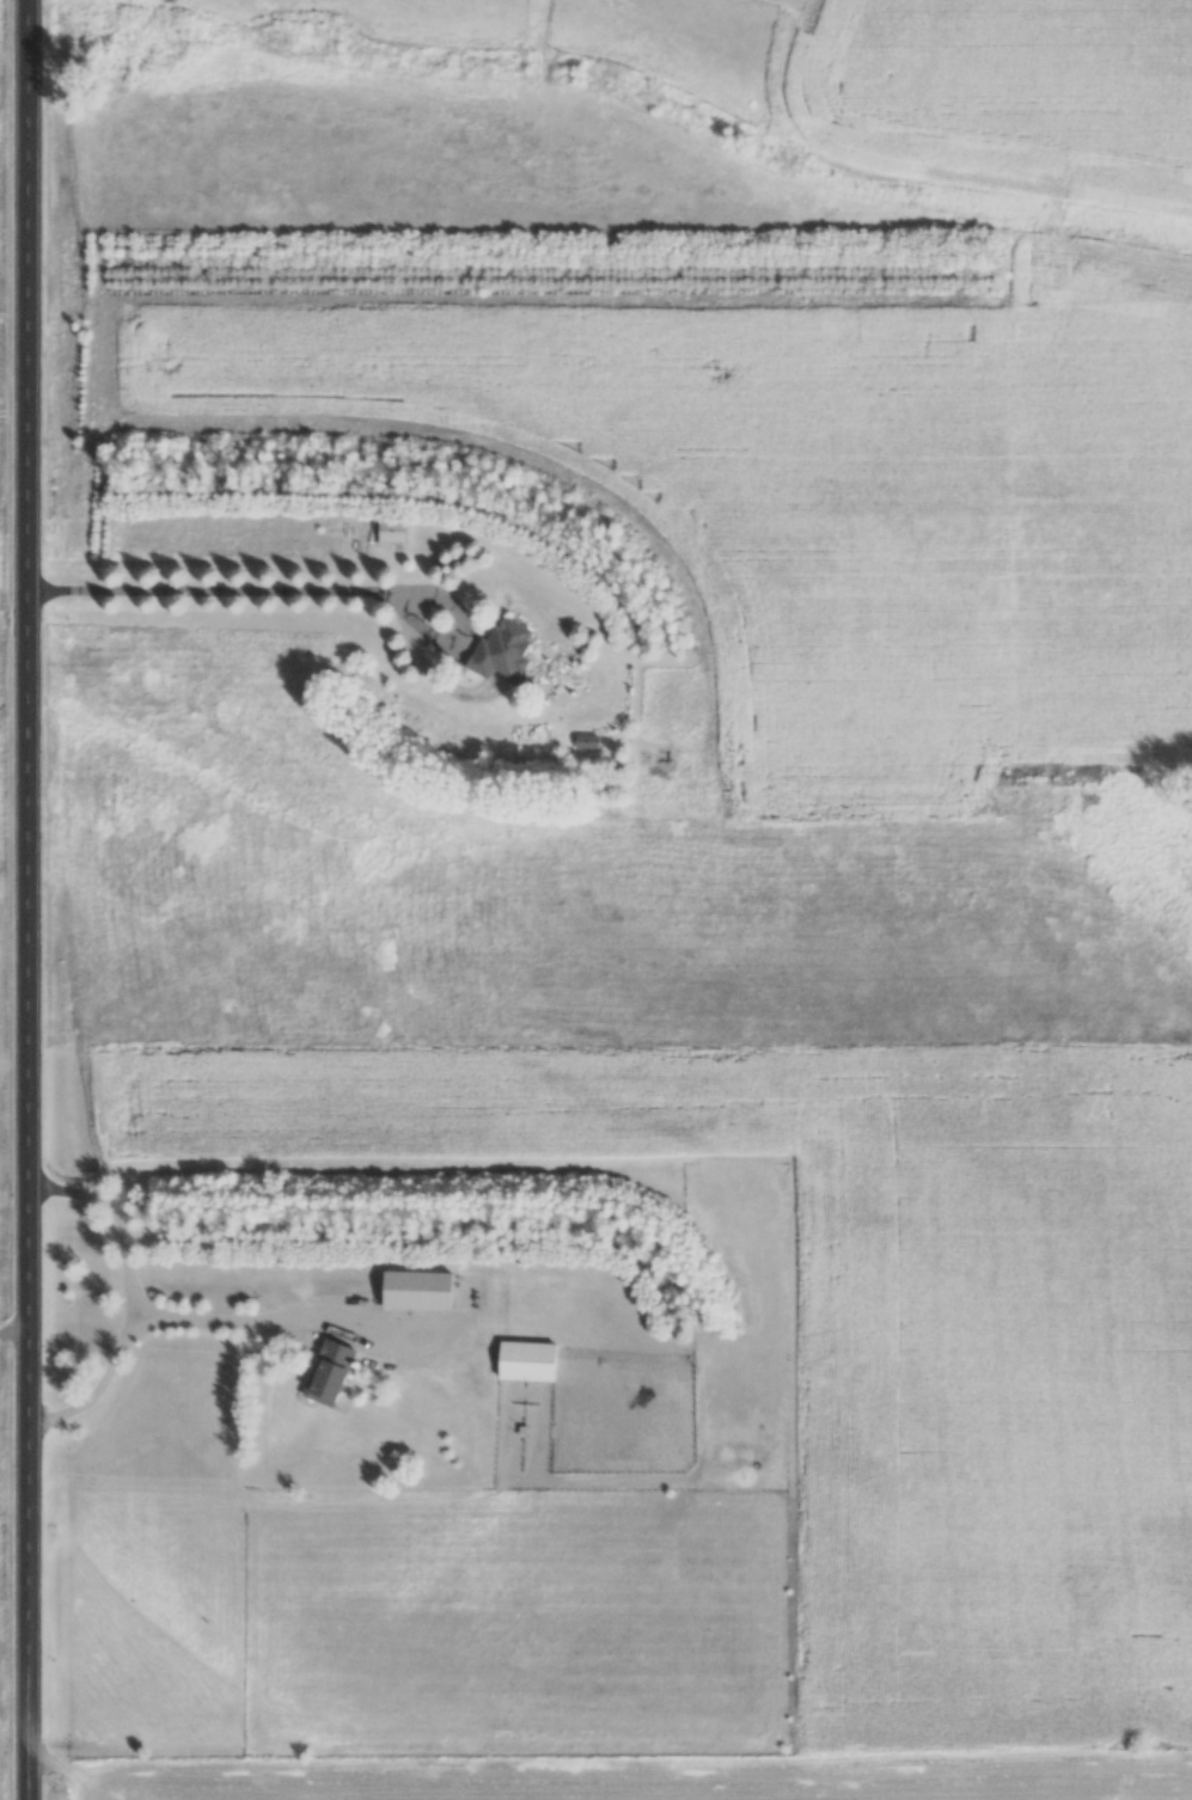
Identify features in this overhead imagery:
road: (307, 577)
building: (506, 649)
building: (588, 741)
road: (37, 900)
road: (124, 1284)
building: (418, 1290)
road: (258, 1306)
building: (528, 1360)
building: (334, 1371)

